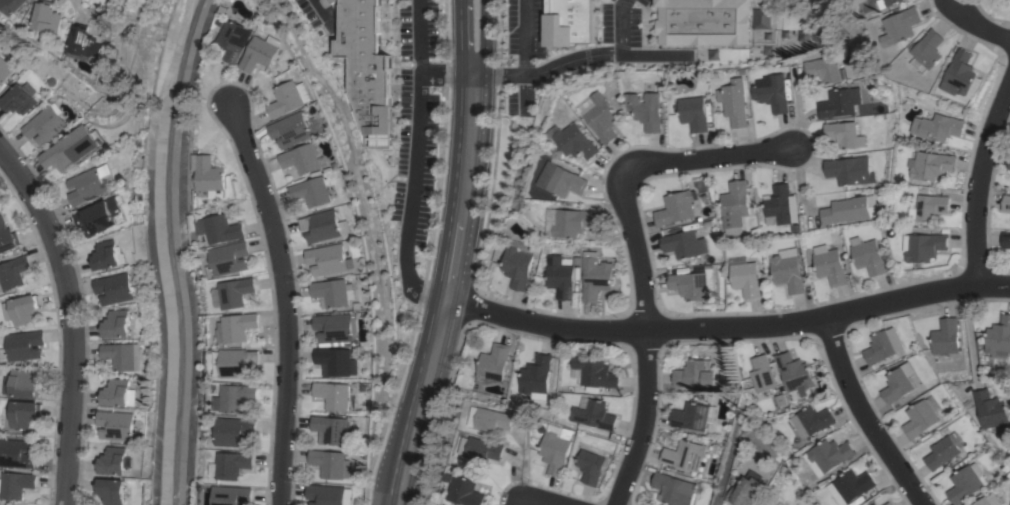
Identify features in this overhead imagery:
building: (876, 0)
building: (888, 3)
building: (12, 5)
building: (49, 17)
road: (324, 17)
building: (759, 18)
building: (569, 22)
building: (703, 22)
road: (978, 23)
road: (621, 25)
building: (901, 26)
road: (483, 37)
road: (525, 37)
road: (460, 38)
building: (233, 39)
building: (89, 44)
building: (927, 50)
building: (259, 52)
road: (572, 60)
building: (367, 64)
building: (822, 69)
building: (5, 71)
road: (446, 73)
building: (961, 73)
road: (499, 74)
building: (772, 92)
building: (18, 98)
building: (288, 98)
building: (734, 101)
building: (838, 103)
building: (646, 110)
building: (694, 113)
building: (601, 117)
building: (45, 124)
building: (938, 127)
building: (290, 130)
building: (843, 135)
building: (576, 141)
building: (72, 148)
building: (300, 159)
road: (414, 162)
building: (931, 165)
building: (1009, 165)
building: (850, 170)
building: (209, 175)
road: (978, 175)
building: (562, 180)
building: (88, 184)
building: (311, 191)
building: (1006, 202)
building: (779, 205)
building: (735, 206)
building: (929, 207)
building: (675, 208)
building: (846, 210)
road: (365, 212)
building: (99, 216)
building: (573, 222)
building: (322, 226)
building: (220, 229)
building: (7, 237)
building: (1005, 240)
building: (684, 244)
building: (923, 246)
road: (636, 254)
building: (106, 255)
building: (867, 255)
building: (229, 258)
building: (326, 259)
building: (517, 263)
building: (829, 265)
building: (787, 270)
building: (13, 272)
building: (560, 276)
building: (595, 276)
building: (745, 277)
building: (693, 284)
building: (117, 288)
road: (445, 291)
building: (233, 292)
building: (332, 292)
road: (287, 303)
building: (20, 310)
road: (73, 319)
building: (117, 324)
building: (237, 326)
road: (728, 326)
building: (335, 328)
road: (968, 329)
building: (946, 337)
building: (999, 338)
building: (24, 345)
building: (883, 345)
building: (122, 355)
building: (336, 361)
building: (238, 363)
building: (493, 363)
building: (594, 372)
building: (762, 373)
building: (794, 373)
building: (694, 374)
building: (535, 375)
building: (20, 383)
building: (898, 383)
building: (117, 392)
building: (332, 395)
building: (235, 397)
building: (991, 410)
building: (23, 413)
building: (597, 415)
road: (860, 415)
building: (690, 416)
building: (920, 418)
building: (494, 419)
building: (811, 421)
building: (116, 425)
building: (331, 429)
building: (235, 431)
building: (482, 448)
building: (556, 448)
building: (942, 452)
building: (16, 453)
building: (684, 455)
building: (828, 455)
building: (115, 460)
building: (328, 463)
building: (232, 464)
building: (590, 466)
building: (966, 483)
building: (15, 484)
building: (851, 486)
building: (673, 489)
building: (746, 489)
building: (465, 490)
building: (111, 491)
building: (325, 494)
building: (231, 495)
building: (987, 500)
road: (538, 503)
building: (888, 503)
building: (874, 504)

